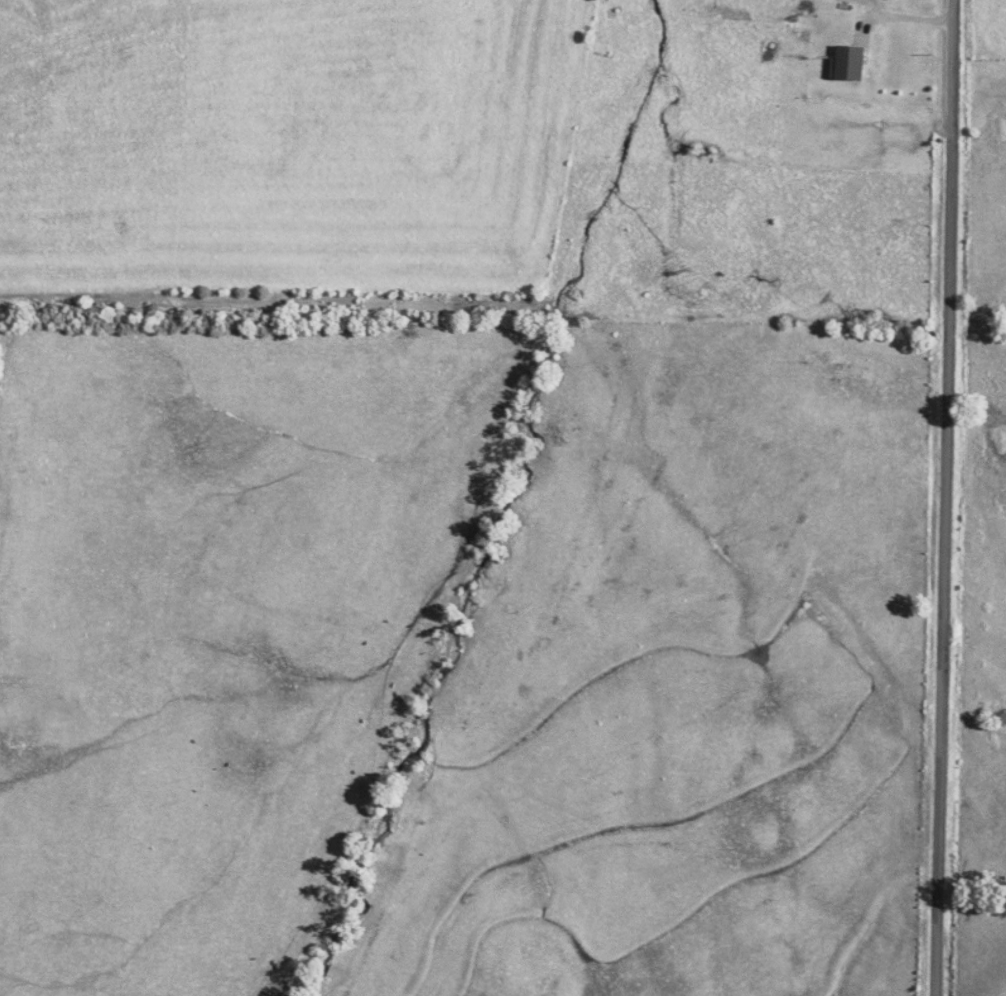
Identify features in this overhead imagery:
building: (844, 64)
road: (943, 497)

